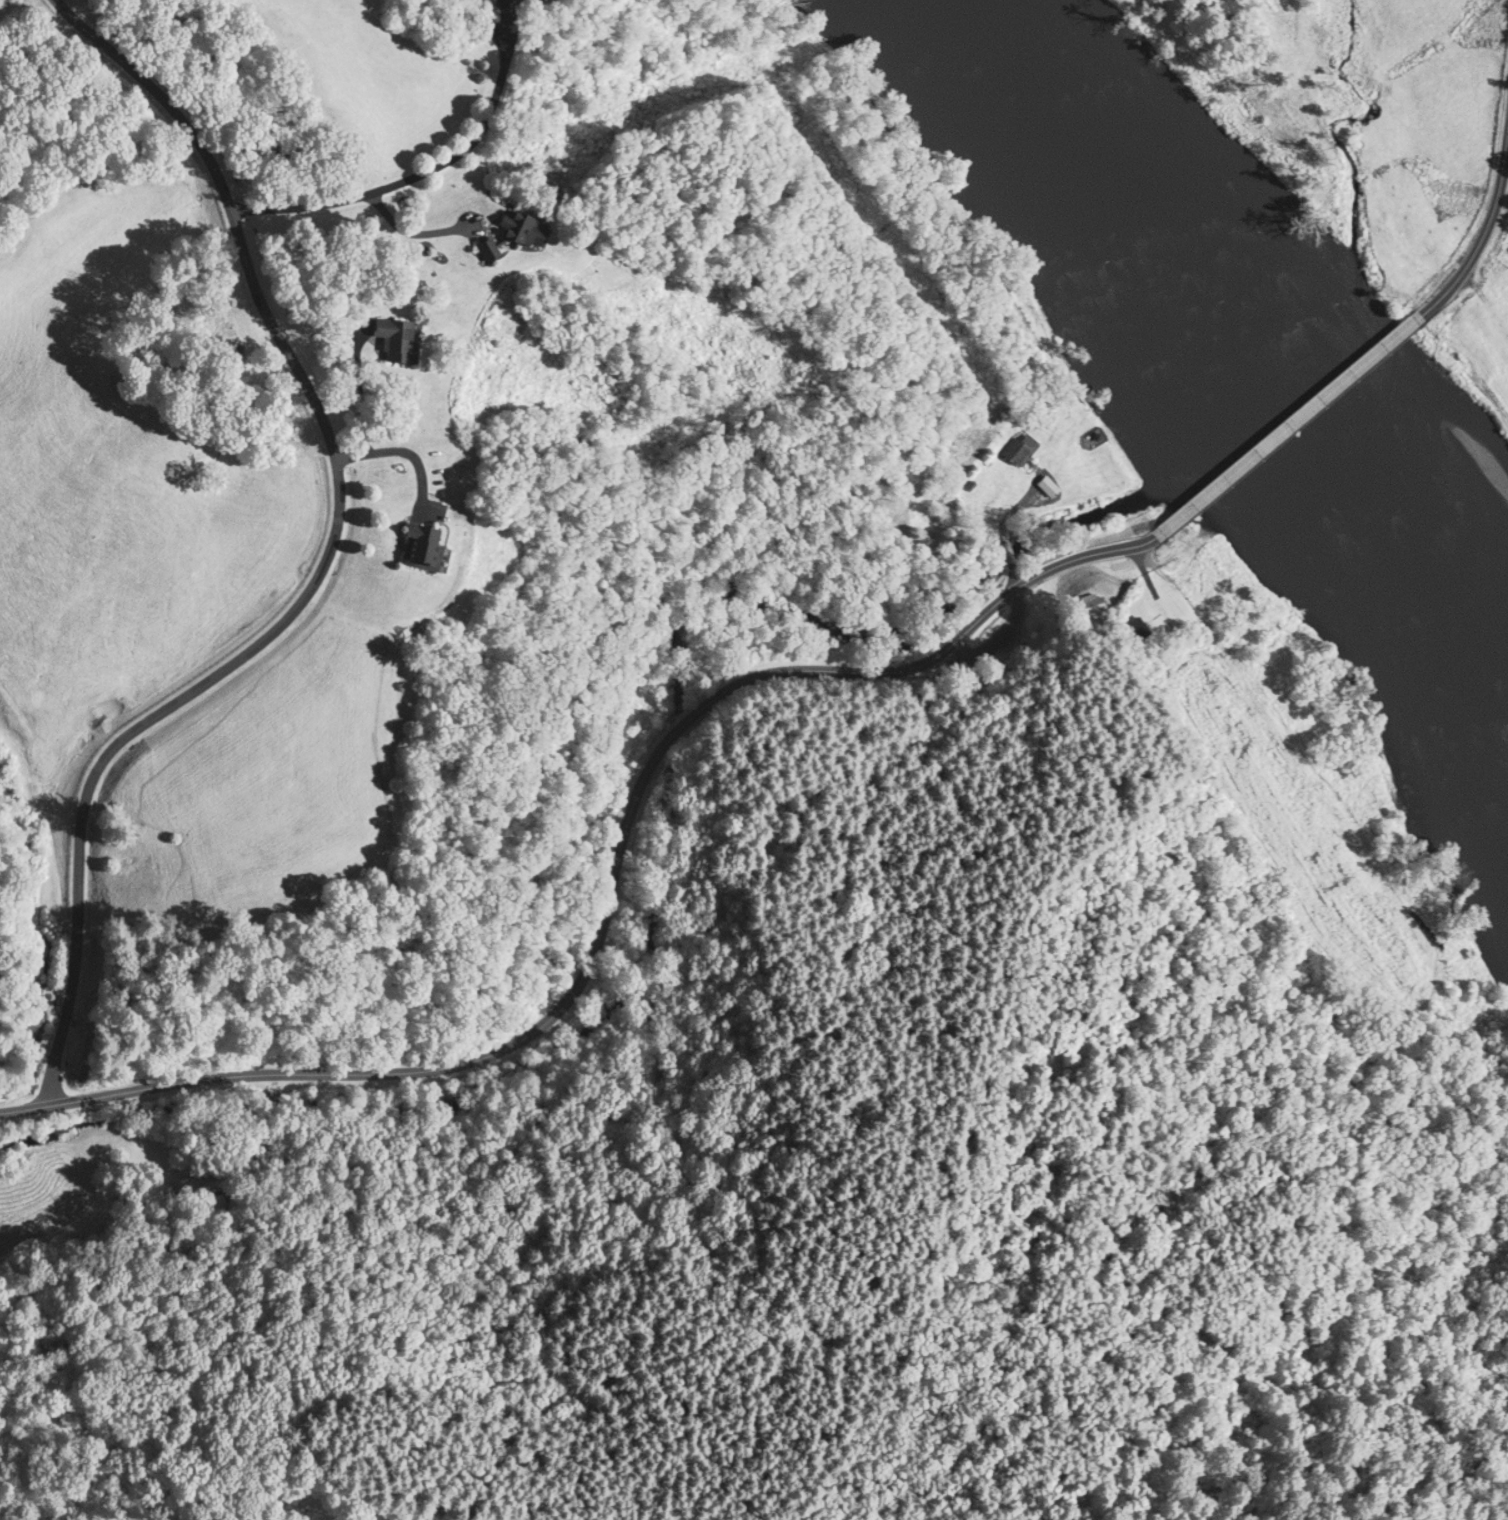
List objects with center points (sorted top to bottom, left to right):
river: (1056, 148)
road: (383, 184)
building: (522, 228)
road: (1486, 238)
building: (487, 248)
building: (395, 338)
river: (1201, 343)
road: (1306, 428)
building: (1017, 448)
building: (421, 545)
road: (318, 562)
building: (1110, 567)
river: (1384, 573)
building: (1091, 601)
building: (1132, 630)
road: (611, 869)
building: (215, 1201)

